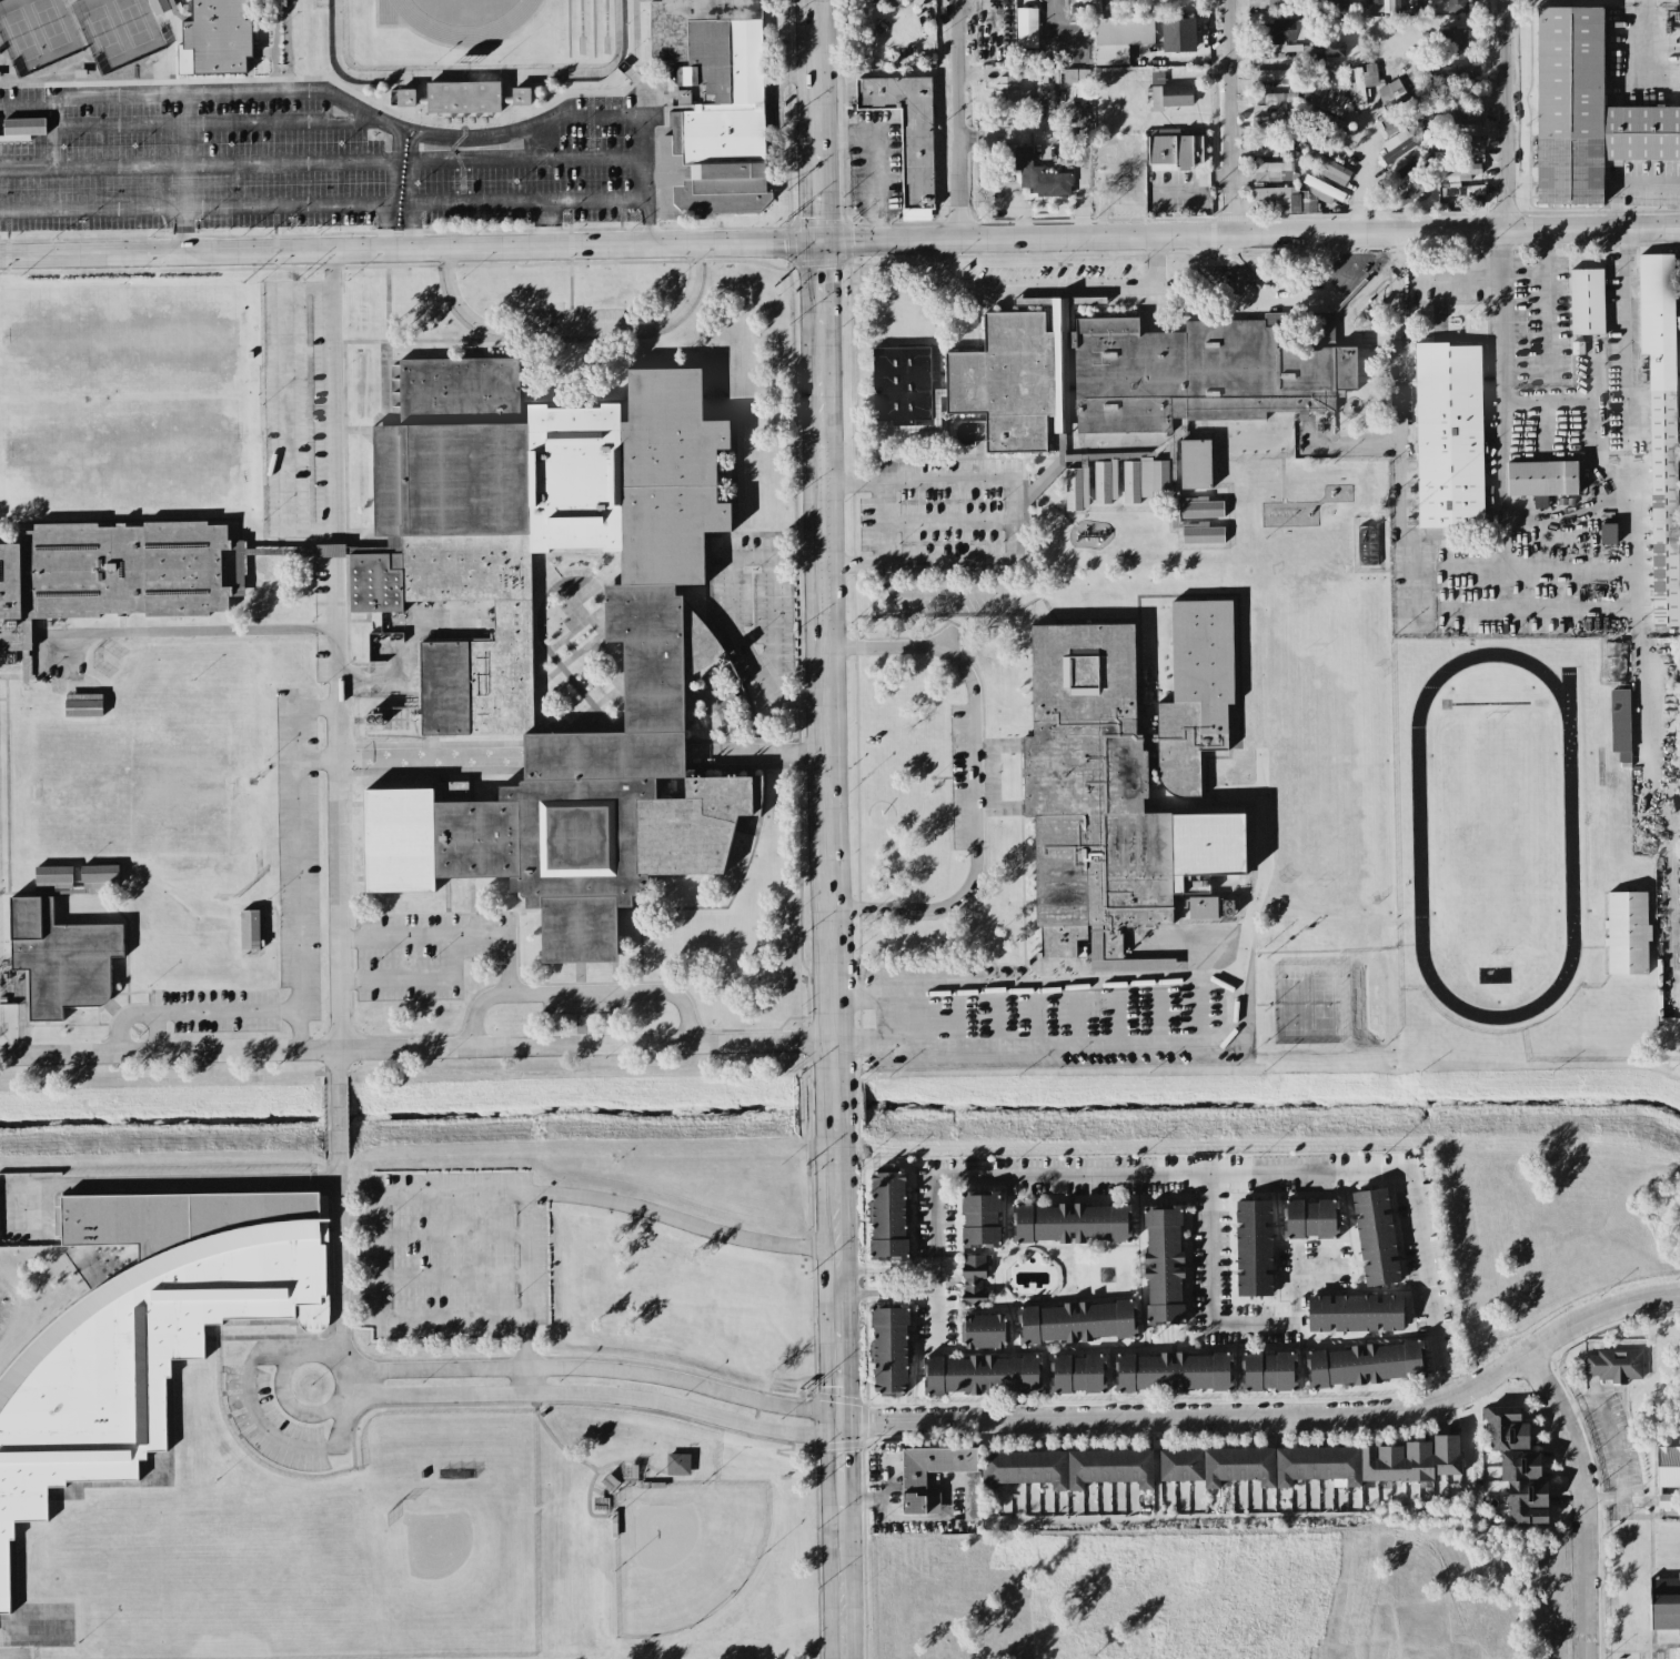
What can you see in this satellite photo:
building: (1276, 2)
building: (1336, 4)
building: (161, 6)
building: (1386, 6)
building: (1456, 6)
park: (131, 21)
park: (49, 22)
track: (423, 22)
building: (998, 28)
building: (1026, 28)
building: (1284, 30)
park: (102, 31)
park: (20, 33)
building: (214, 38)
building: (1119, 38)
building: (1176, 38)
road: (1646, 39)
building: (1453, 40)
stadium: (472, 47)
building: (1334, 49)
building: (1452, 72)
building: (1271, 74)
building: (1157, 78)
building: (1077, 81)
building: (1361, 82)
building: (1390, 91)
building: (1009, 94)
building: (463, 95)
building: (1170, 95)
building: (1325, 97)
building: (1274, 100)
building: (712, 105)
building: (1587, 113)
road: (1501, 117)
road: (1233, 118)
road: (963, 119)
building: (1400, 120)
building: (1272, 121)
building: (1456, 122)
building: (1325, 123)
road: (215, 124)
building: (21, 129)
road: (410, 132)
road: (1070, 133)
building: (906, 134)
building: (1401, 143)
building: (1459, 143)
building: (1325, 144)
building: (1270, 145)
building: (1174, 149)
building: (1002, 152)
road: (876, 158)
road: (527, 159)
road: (197, 168)
building: (1328, 168)
building: (1460, 172)
road: (185, 173)
building: (1038, 177)
road: (1195, 187)
road: (390, 189)
building: (1292, 189)
building: (1475, 189)
building: (1415, 191)
road: (410, 192)
road: (323, 204)
road: (550, 224)
road: (839, 242)
traffic signals: (822, 243)
road: (1548, 254)
road: (1348, 274)
road: (1490, 278)
road: (1054, 281)
road: (1366, 289)
building: (1586, 302)
road: (571, 330)
road: (386, 331)
building: (1139, 373)
building: (902, 385)
road: (285, 409)
road: (1501, 421)
building: (1661, 430)
building: (1448, 438)
building: (1195, 464)
building: (1541, 480)
building: (1148, 482)
road: (1018, 505)
building: (1200, 507)
road: (952, 522)
building: (1199, 533)
building: (1607, 533)
road: (1402, 565)
road: (1453, 566)
building: (109, 573)
road: (945, 593)
road: (728, 609)
road: (772, 619)
road: (1644, 620)
road: (151, 631)
road: (340, 651)
building: (1616, 653)
building: (1618, 677)
road: (389, 681)
building: (476, 686)
building: (82, 705)
building: (372, 718)
building: (1620, 723)
road: (404, 758)
building: (1115, 766)
road: (975, 780)
road: (831, 828)
track: (1570, 835)
park: (1496, 836)
road: (299, 859)
building: (1167, 868)
building: (98, 877)
building: (53, 878)
building: (1203, 907)
building: (1226, 907)
building: (249, 929)
building: (1627, 933)
road: (455, 937)
building: (60, 958)
road: (419, 984)
road: (582, 992)
road: (178, 1007)
road: (22, 1019)
road: (157, 1030)
road: (838, 1044)
road: (338, 1068)
road: (336, 1120)
flagpole: (862, 1169)
road: (1236, 1170)
flagpole: (863, 1173)
flagpole: (863, 1177)
flagpole: (863, 1182)
flagpole: (863, 1185)
flagpole: (863, 1193)
road: (414, 1194)
flagpole: (863, 1200)
flagpole: (863, 1209)
building: (887, 1216)
flagpole: (863, 1218)
building: (979, 1219)
building: (1310, 1219)
building: (1072, 1224)
flagpole: (863, 1228)
road: (454, 1235)
building: (1375, 1237)
flagpole: (863, 1239)
building: (1254, 1248)
flagpole: (863, 1249)
parking lot: (457, 1253)
flagpole: (864, 1258)
building: (1164, 1266)
road: (888, 1268)
road: (455, 1276)
road: (340, 1277)
flagpole: (864, 1278)
building: (974, 1280)
flagpole: (864, 1285)
road: (891, 1294)
road: (937, 1307)
flagpole: (864, 1311)
building: (1355, 1313)
flagpole: (864, 1321)
building: (1076, 1323)
road: (1213, 1324)
flagpole: (865, 1328)
building: (143, 1331)
building: (983, 1331)
flagpole: (865, 1337)
flagpole: (865, 1347)
building: (889, 1349)
road: (524, 1354)
flagpole: (865, 1356)
flagpole: (866, 1363)
building: (1366, 1364)
building: (1614, 1365)
flagpole: (866, 1370)
building: (1174, 1371)
building: (1268, 1371)
building: (1077, 1374)
building: (982, 1375)
flagpole: (866, 1378)
flagpole: (866, 1386)
flagpole: (867, 1395)
road: (1275, 1416)
road: (838, 1424)
traffic signals: (843, 1426)
road: (1624, 1449)
building: (677, 1464)
building: (1316, 1464)
building: (1517, 1466)
building: (1668, 1466)
building: (1066, 1468)
building: (913, 1482)
road: (1583, 1499)
building: (1664, 1603)

